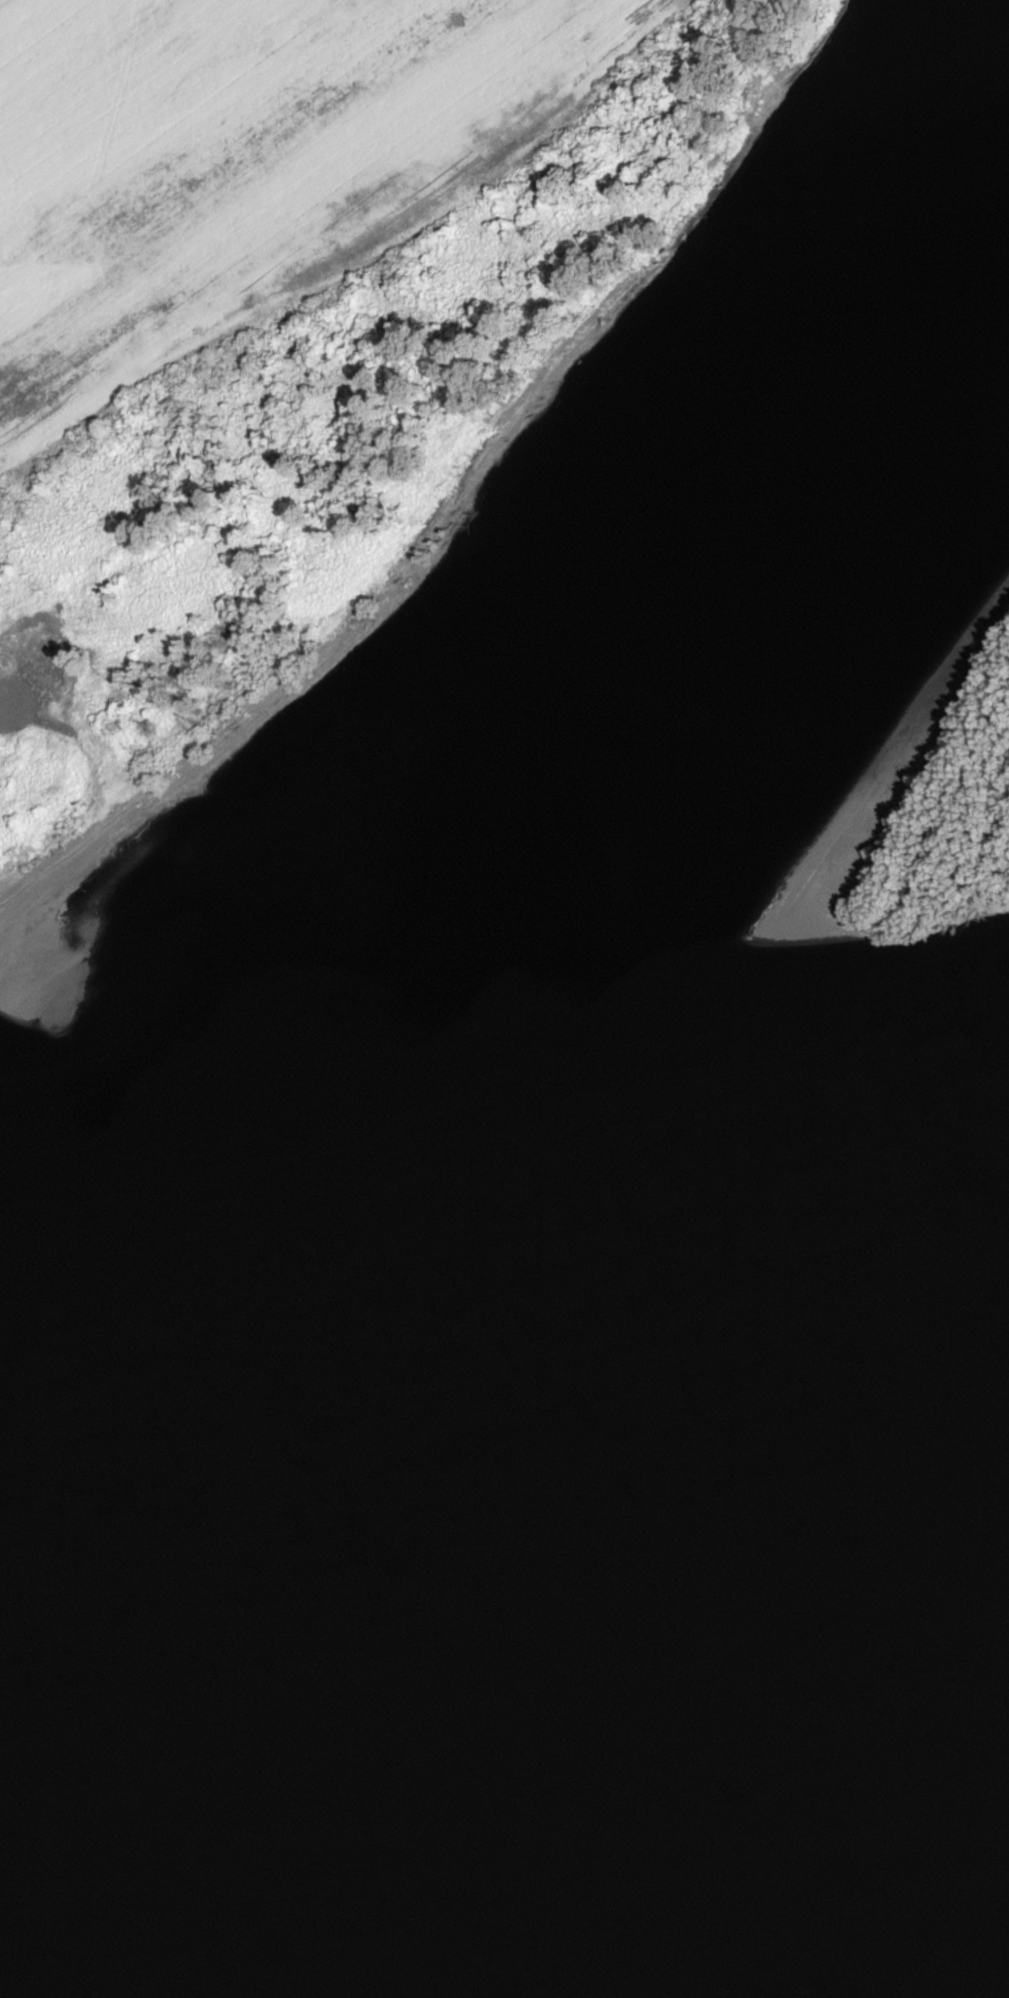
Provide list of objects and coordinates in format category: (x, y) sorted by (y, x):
river: (912, 1936)

